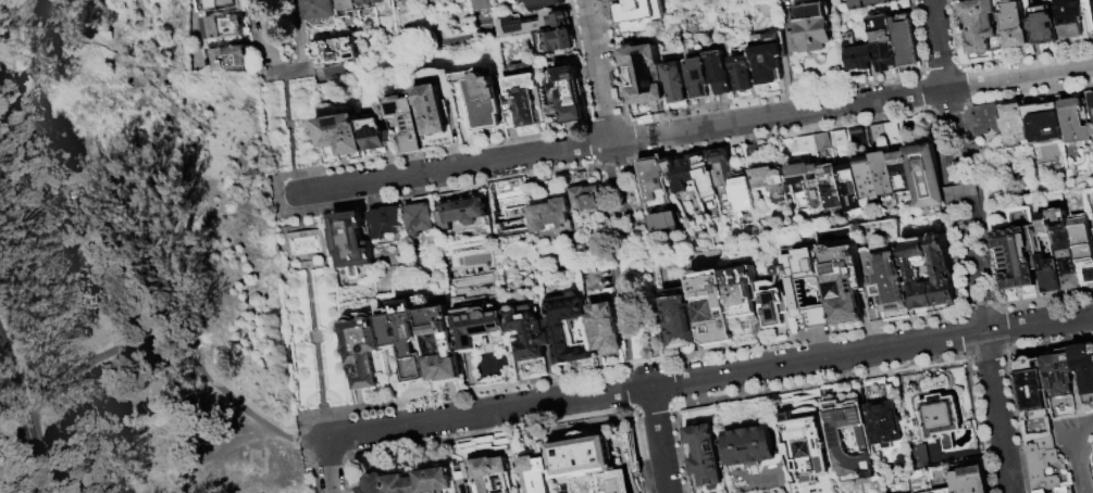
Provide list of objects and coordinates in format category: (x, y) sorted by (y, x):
building: (402, 0)
building: (620, 1)
building: (377, 2)
building: (868, 3)
building: (222, 4)
building: (544, 4)
building: (362, 5)
building: (480, 5)
building: (1092, 5)
building: (345, 8)
building: (639, 11)
building: (316, 12)
building: (810, 12)
building: (1070, 20)
building: (534, 24)
building: (225, 28)
building: (1016, 28)
building: (983, 29)
building: (1045, 30)
road: (260, 31)
building: (810, 36)
building: (557, 42)
building: (883, 42)
building: (905, 42)
road: (937, 45)
road: (300, 50)
building: (334, 51)
building: (857, 54)
building: (767, 58)
building: (229, 59)
building: (743, 69)
building: (334, 71)
road: (600, 72)
building: (720, 74)
building: (643, 75)
building: (699, 78)
building: (675, 83)
building: (567, 94)
building: (434, 101)
building: (521, 101)
building: (1092, 101)
building: (484, 103)
building: (1042, 119)
building: (986, 121)
building: (1076, 123)
building: (405, 126)
building: (1014, 126)
road: (695, 129)
building: (1091, 130)
building: (884, 134)
building: (339, 135)
building: (373, 136)
building: (856, 138)
building: (840, 140)
building: (821, 142)
building: (799, 146)
road: (937, 149)
building: (721, 172)
building: (899, 174)
building: (692, 175)
building: (882, 176)
building: (866, 179)
building: (924, 179)
building: (771, 182)
building: (654, 184)
building: (809, 185)
building: (831, 190)
building: (849, 190)
road: (614, 191)
road: (297, 192)
building: (743, 192)
street lamp: (282, 198)
building: (585, 200)
road: (981, 206)
building: (459, 212)
building: (549, 215)
building: (419, 219)
building: (384, 223)
building: (665, 223)
road: (303, 236)
building: (1083, 241)
road: (322, 244)
building: (350, 244)
road: (286, 246)
building: (1066, 248)
road: (306, 256)
road: (976, 256)
building: (1017, 260)
park: (135, 262)
building: (917, 274)
building: (941, 274)
building: (843, 281)
building: (889, 285)
building: (797, 290)
building: (741, 292)
building: (775, 305)
building: (711, 308)
building: (679, 319)
building: (479, 328)
building: (605, 329)
building: (527, 332)
building: (559, 334)
road: (315, 336)
building: (405, 340)
building: (439, 344)
building: (361, 349)
road: (3, 359)
road: (177, 362)
building: (1083, 370)
building: (1059, 374)
road: (709, 377)
building: (1032, 389)
road: (996, 413)
road: (23, 416)
building: (884, 420)
road: (324, 421)
building: (941, 421)
road: (1084, 435)
road: (658, 440)
building: (839, 440)
building: (807, 445)
building: (753, 447)
road: (228, 448)
building: (622, 454)
building: (582, 456)
building: (707, 457)
building: (919, 458)
building: (1042, 464)
road: (327, 466)
road: (1080, 470)
building: (537, 475)
building: (488, 476)
building: (970, 478)
building: (437, 480)
building: (405, 483)
building: (375, 484)
building: (1061, 490)
building: (946, 492)
building: (1042, 492)

